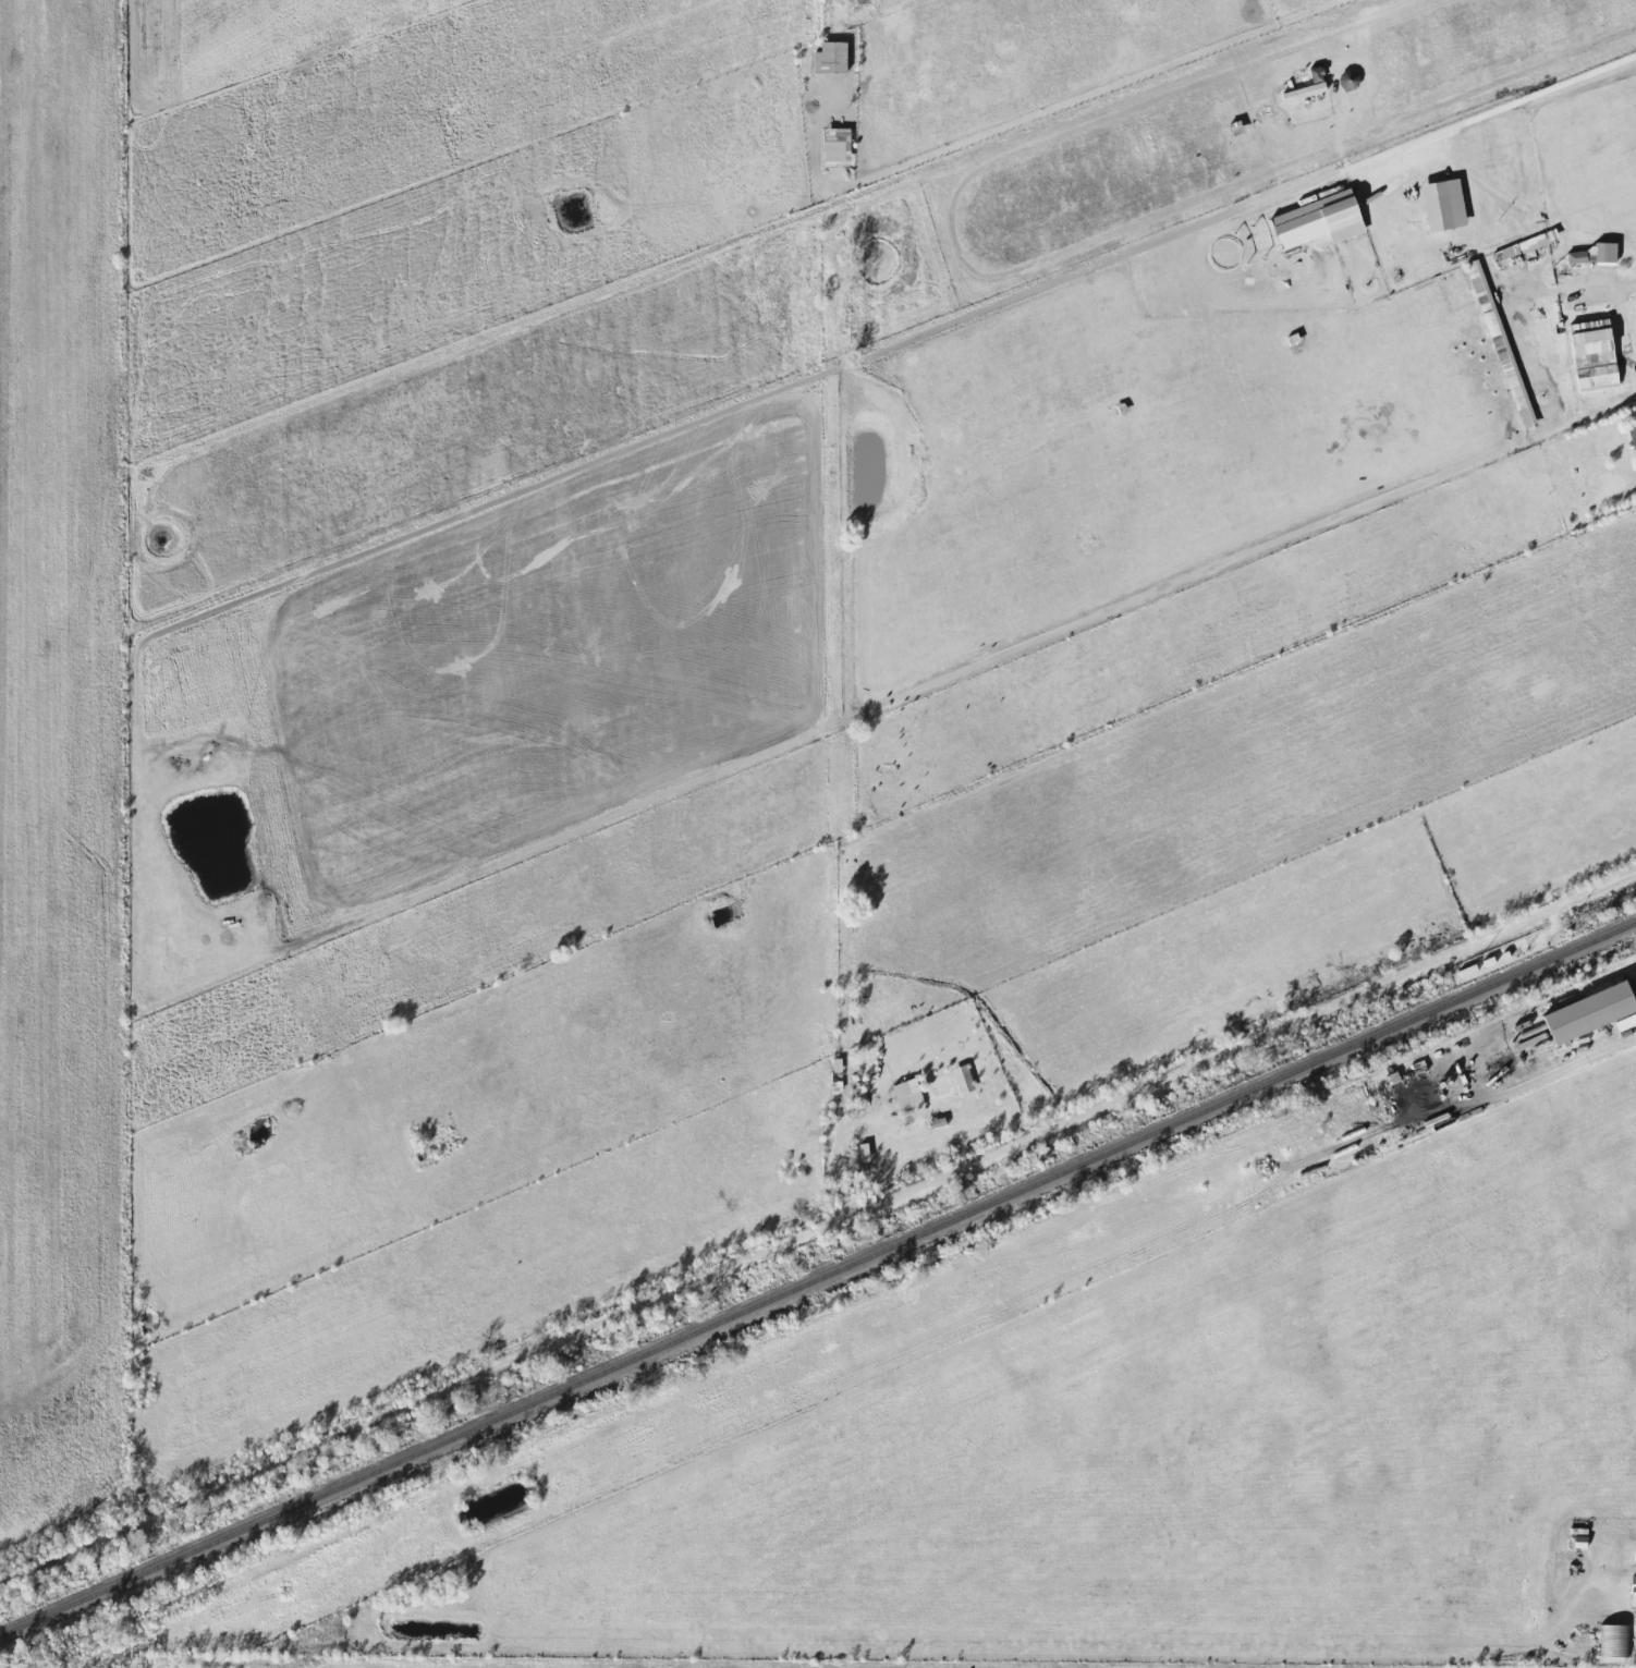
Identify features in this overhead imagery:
building: (840, 58)
building: (1347, 81)
road: (1096, 88)
road: (1491, 111)
building: (845, 144)
building: (1450, 204)
building: (1335, 211)
building: (1519, 248)
road: (1624, 288)
building: (1535, 311)
building: (1591, 354)
building: (1587, 1013)
road: (1202, 1060)
building: (972, 1077)
building: (917, 1093)
railway: (818, 1277)
building: (1614, 1641)

